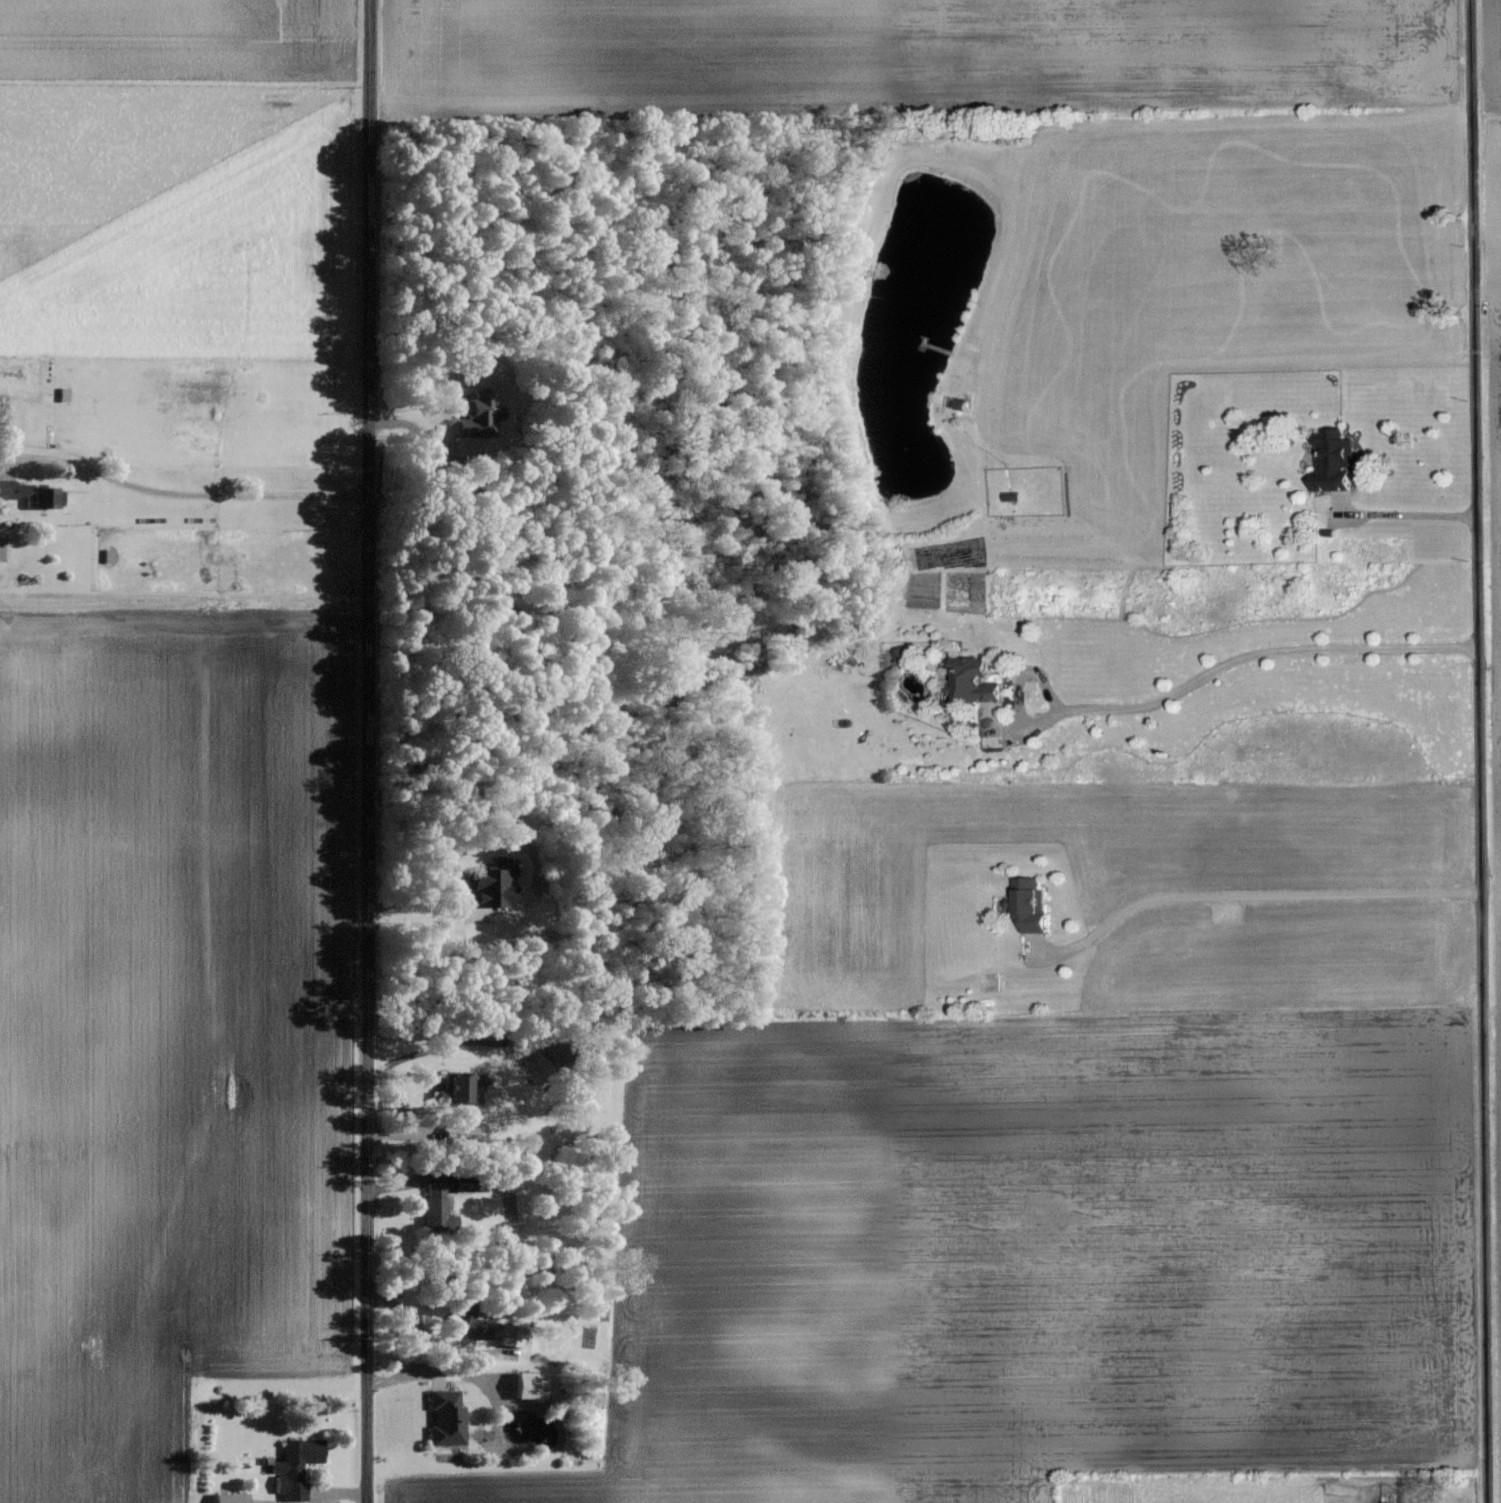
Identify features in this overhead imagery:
building: (474, 415)
building: (1330, 460)
road: (186, 476)
building: (30, 494)
road: (1418, 513)
building: (900, 655)
road: (1196, 679)
building: (971, 681)
road: (368, 751)
road: (1480, 751)
building: (483, 884)
road: (1250, 891)
building: (1027, 904)
road: (425, 917)
building: (449, 1089)
building: (455, 1134)
building: (432, 1208)
building: (463, 1322)
road: (417, 1328)
road: (432, 1375)
building: (523, 1385)
building: (442, 1418)
building: (291, 1467)
building: (225, 1498)

